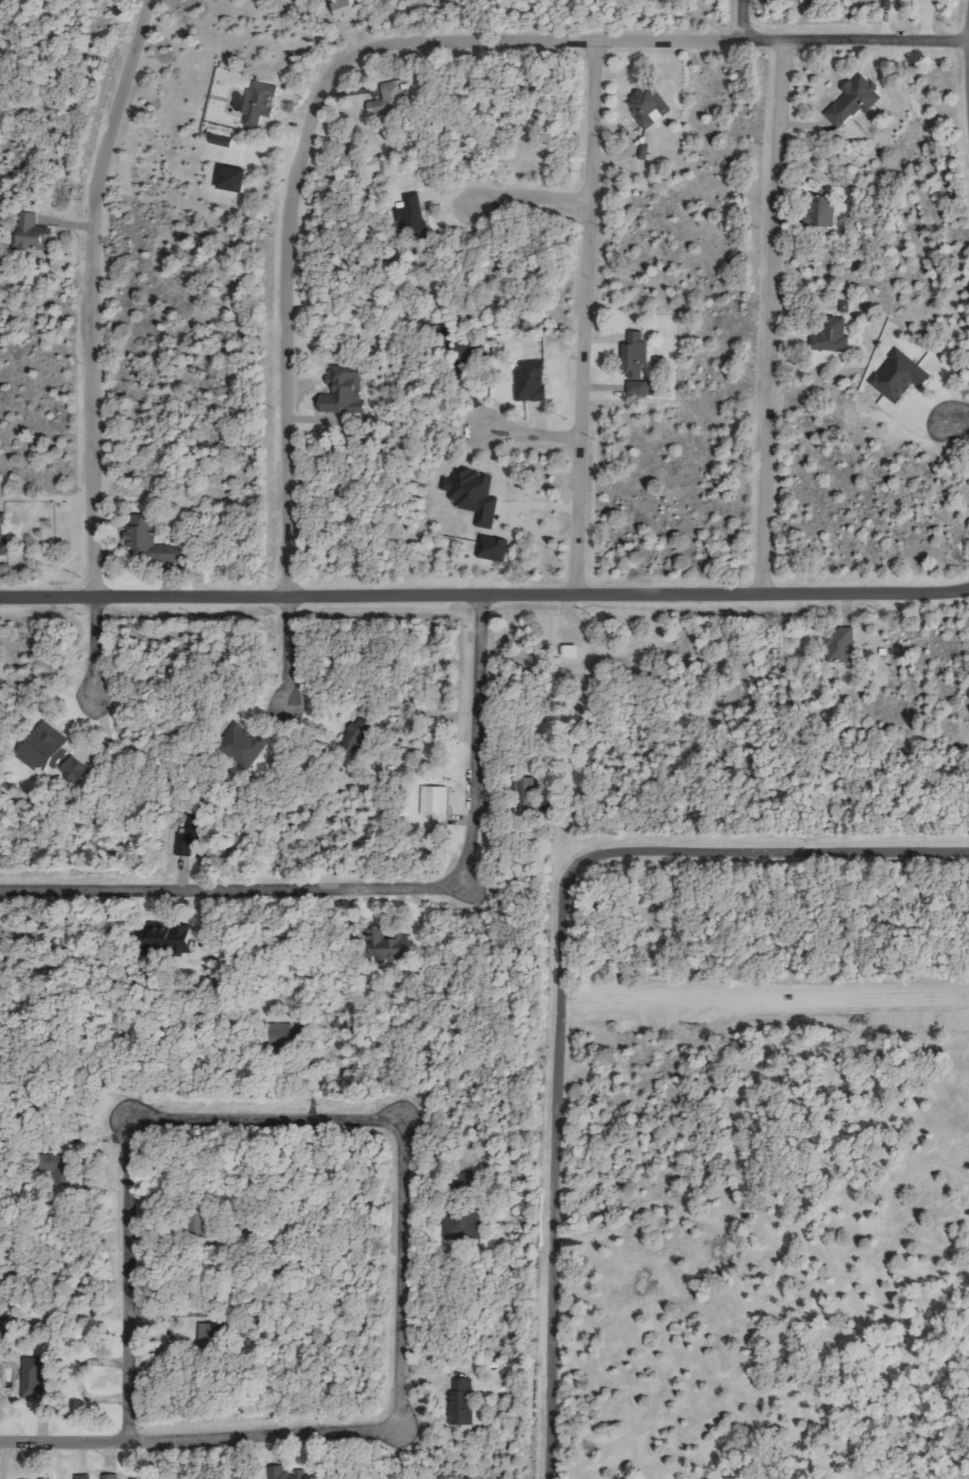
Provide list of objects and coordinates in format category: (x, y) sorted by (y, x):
building: (351, 10)
road: (741, 20)
road: (379, 46)
building: (393, 98)
building: (856, 102)
building: (262, 103)
building: (650, 105)
building: (224, 140)
road: (527, 194)
building: (824, 211)
building: (414, 217)
building: (34, 232)
road: (90, 294)
road: (583, 317)
road: (768, 317)
building: (833, 336)
building: (469, 350)
building: (638, 363)
building: (533, 381)
building: (346, 391)
road: (527, 432)
building: (475, 494)
building: (4, 538)
building: (153, 543)
building: (495, 548)
road: (484, 594)
road: (95, 647)
building: (843, 649)
building: (574, 650)
road: (287, 651)
building: (358, 735)
building: (243, 742)
building: (55, 753)
building: (437, 805)
building: (193, 836)
road: (373, 889)
building: (170, 939)
building: (389, 944)
road: (557, 970)
road: (263, 1119)
building: (59, 1162)
road: (400, 1269)
road: (127, 1283)
building: (212, 1335)
building: (36, 1378)
building: (463, 1401)
road: (198, 1438)
building: (286, 1473)
building: (85, 1476)
building: (112, 1476)

